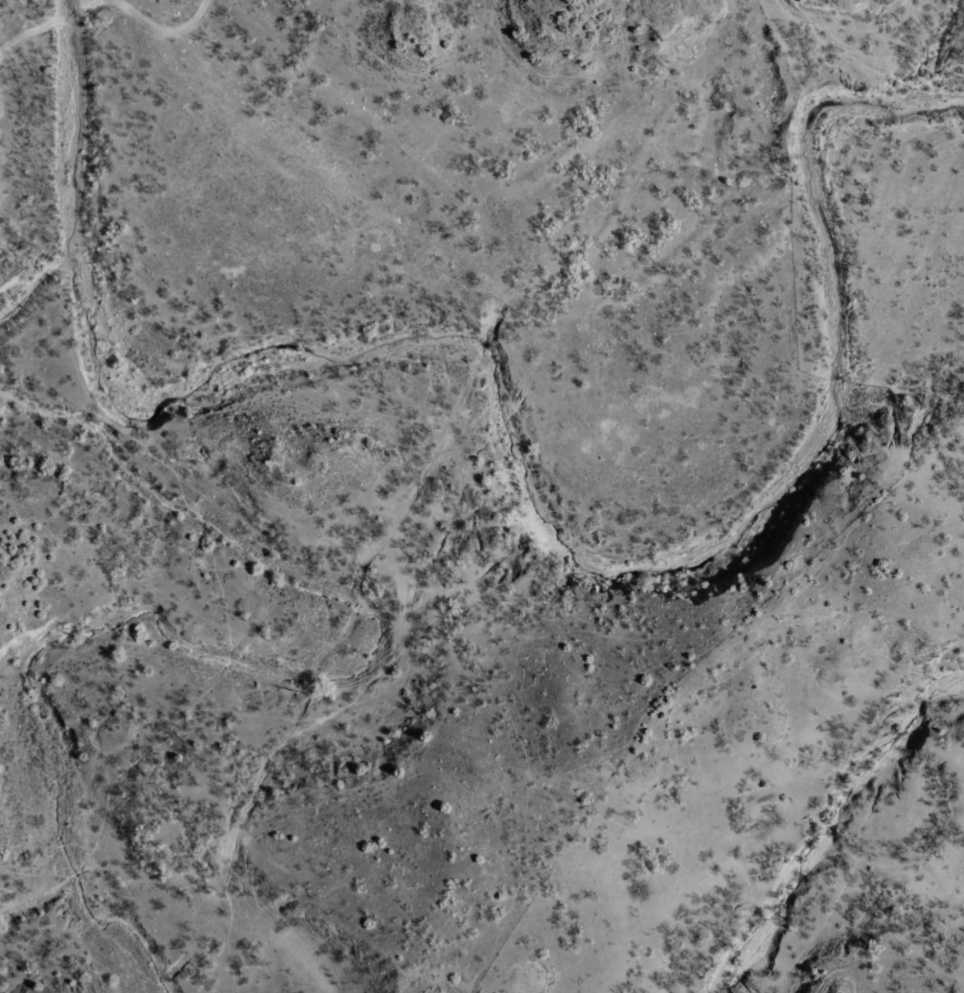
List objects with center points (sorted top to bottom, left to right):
road: (110, 7)

